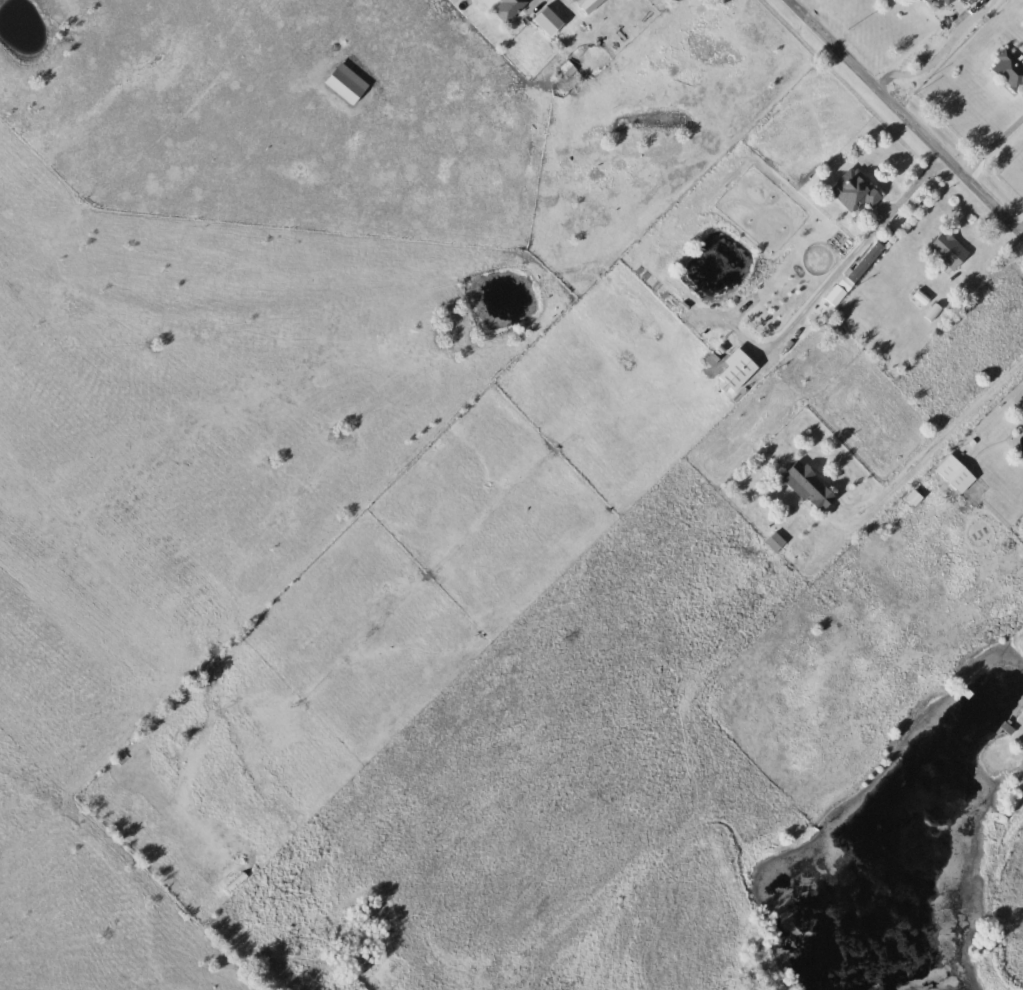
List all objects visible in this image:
building: (927, 1)
building: (942, 2)
building: (504, 8)
road: (927, 47)
building: (1006, 71)
road: (910, 114)
road: (994, 144)
road: (917, 187)
building: (851, 190)
building: (943, 249)
building: (730, 369)
building: (1021, 418)
road: (934, 448)
building: (951, 474)
building: (802, 486)

